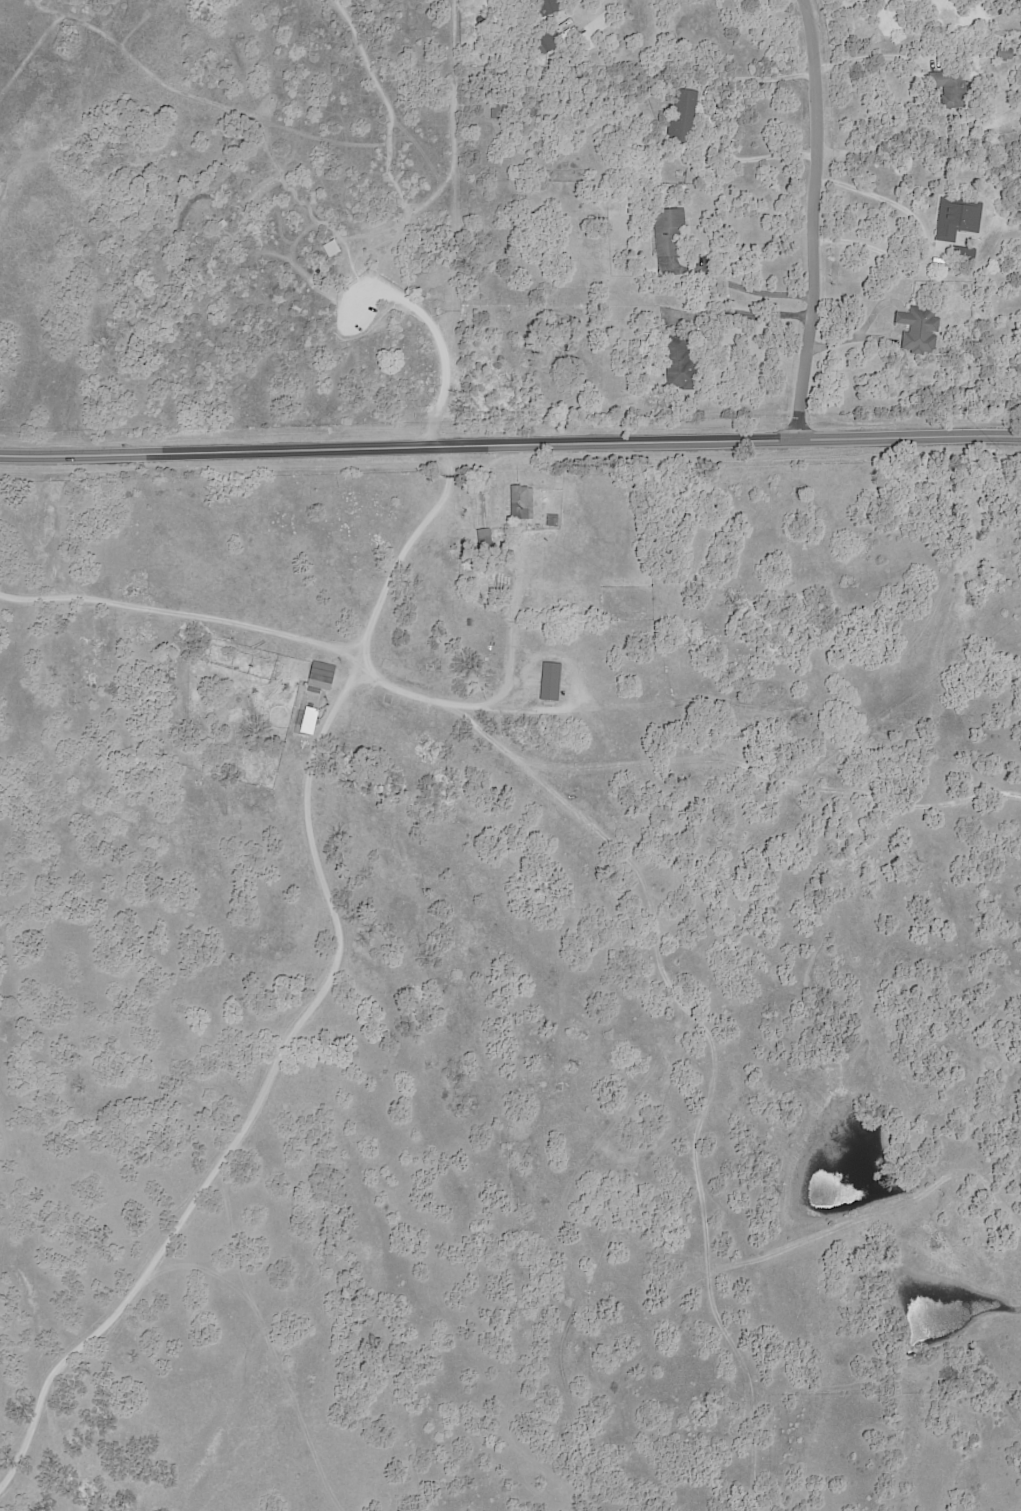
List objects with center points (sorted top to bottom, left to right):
building: (550, 6)
building: (552, 40)
road: (29, 50)
building: (1006, 53)
road: (872, 58)
building: (952, 89)
road: (228, 103)
road: (387, 108)
building: (500, 112)
road: (706, 112)
building: (684, 116)
road: (452, 162)
road: (246, 211)
road: (815, 216)
building: (960, 218)
road: (404, 220)
park: (241, 224)
building: (671, 231)
road: (922, 233)
road: (385, 252)
building: (967, 253)
road: (744, 286)
parking lot: (356, 310)
road: (745, 317)
building: (921, 329)
road: (855, 337)
road: (439, 347)
building: (682, 364)
road: (510, 440)
building: (522, 504)
building: (554, 520)
building: (486, 537)
building: (469, 551)
road: (366, 629)
building: (324, 674)
building: (554, 683)
road: (256, 1096)

